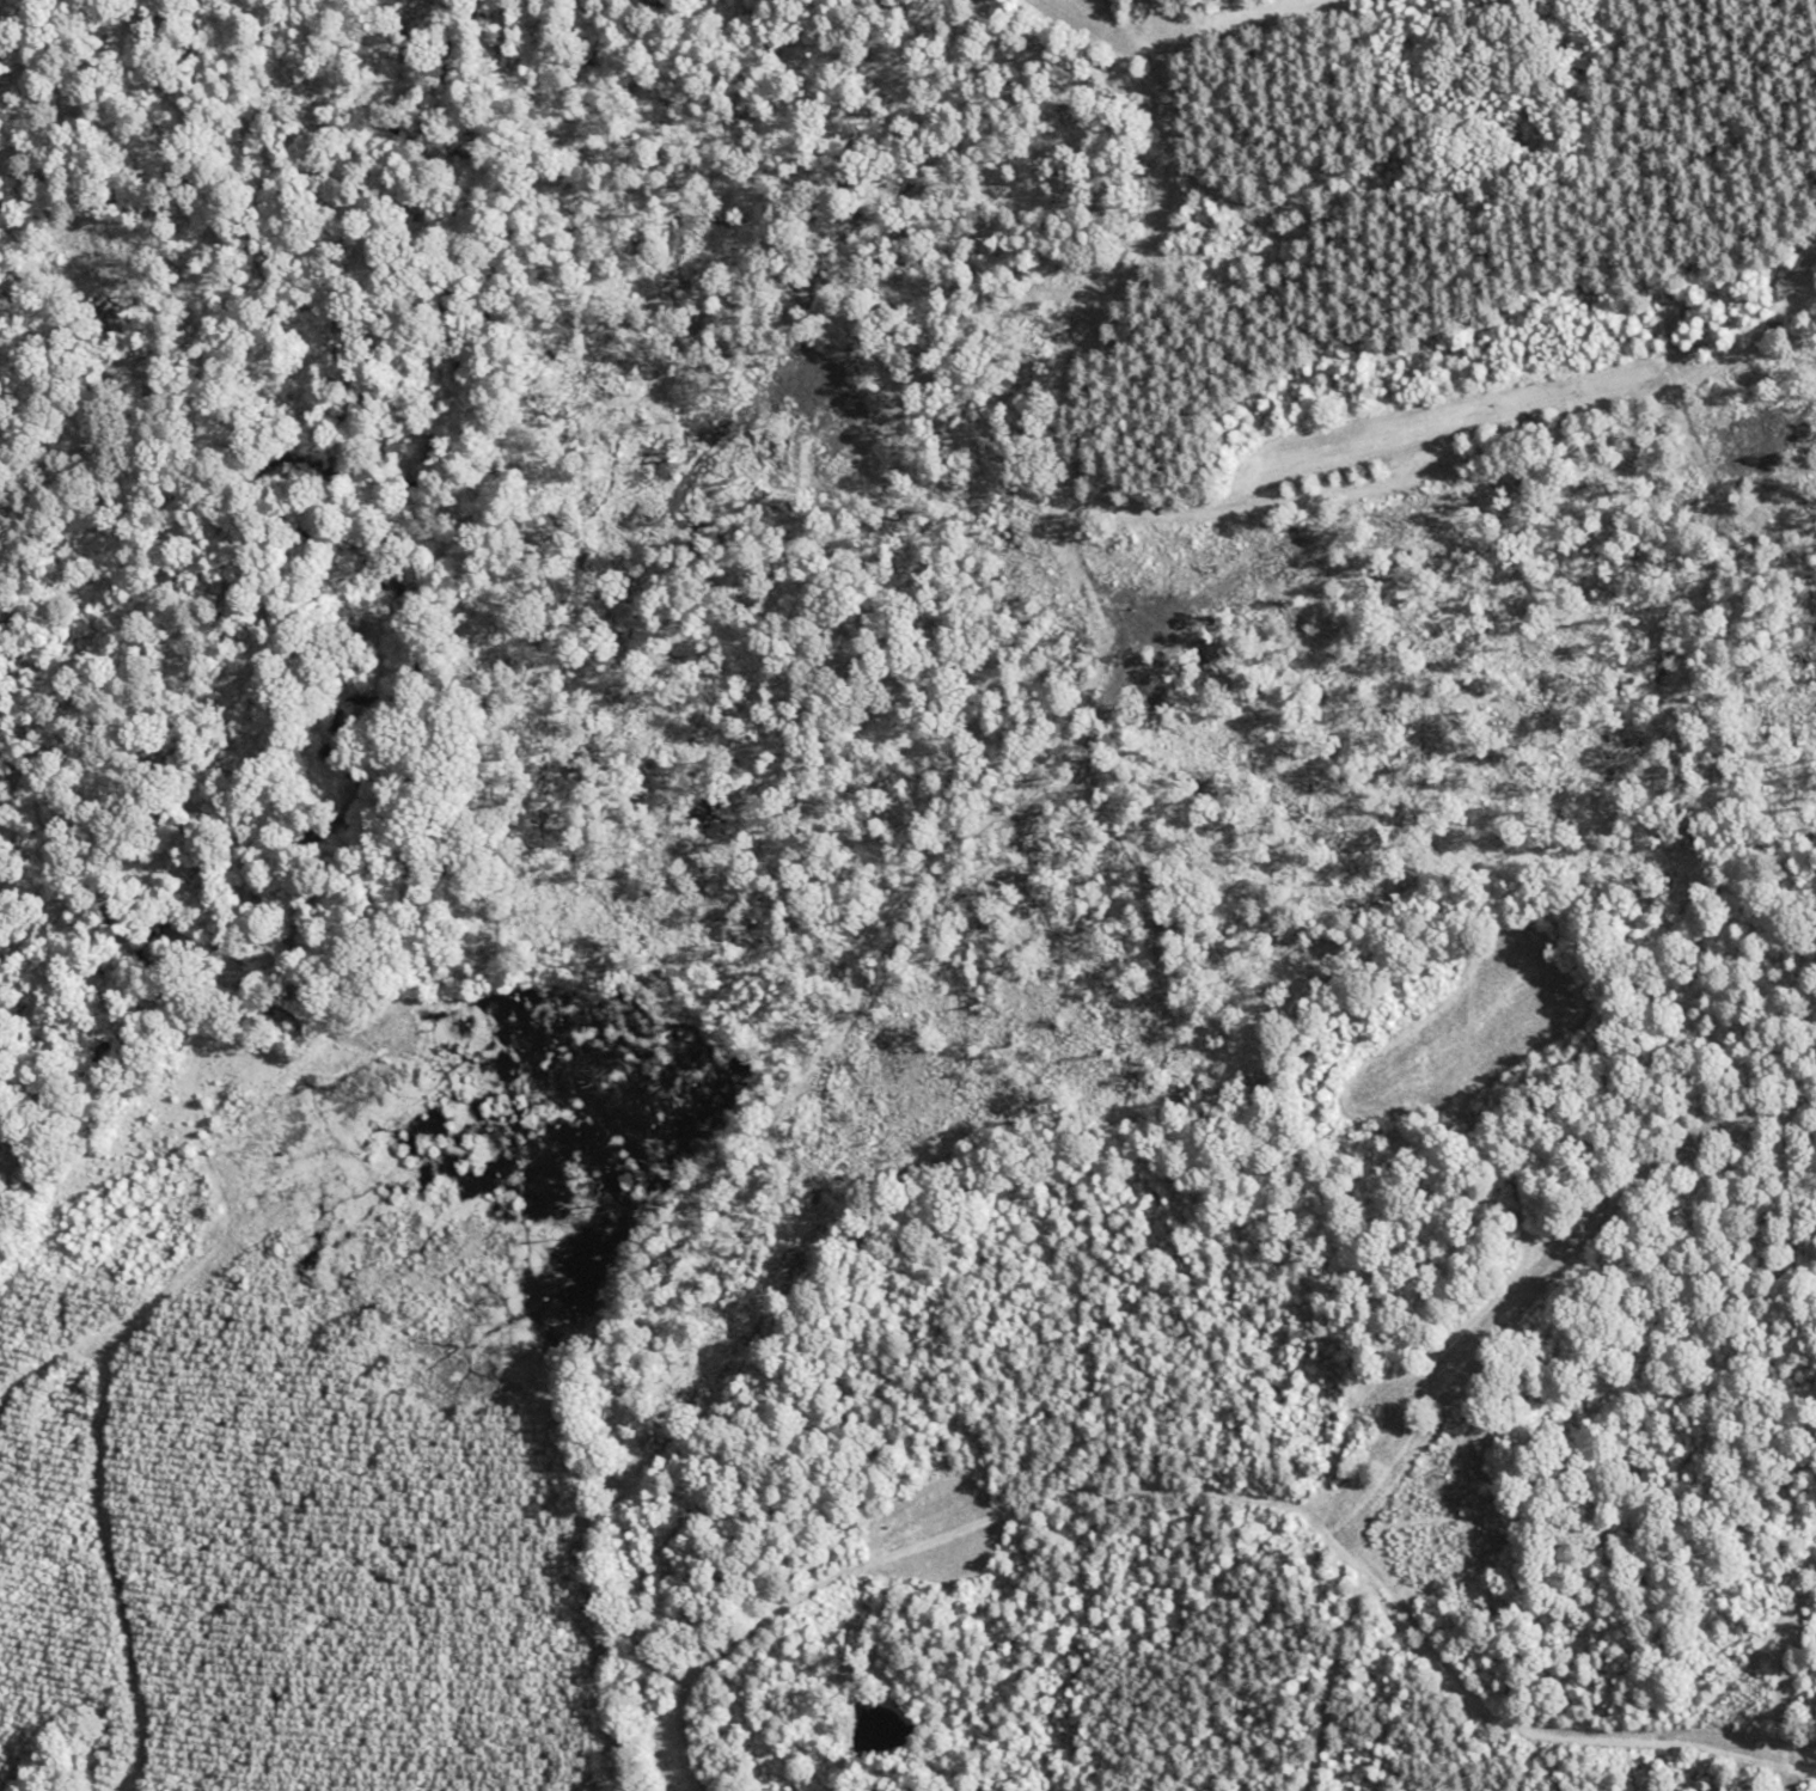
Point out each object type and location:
road: (1600, 273)
road: (851, 801)
road: (1166, 1450)

